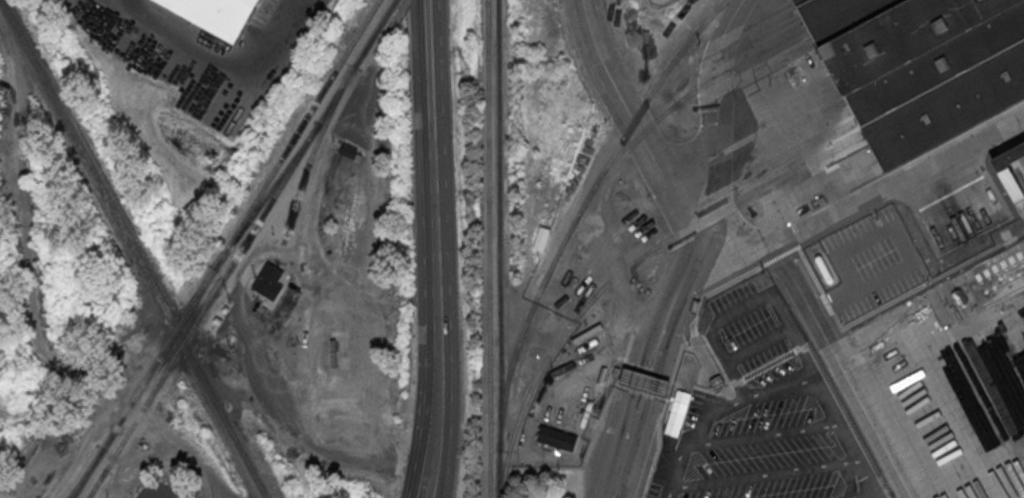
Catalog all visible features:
power substation: (658, 0)
railway: (394, 2)
building: (216, 13)
road: (220, 59)
building: (919, 66)
road: (433, 67)
power tower: (465, 74)
railway: (673, 106)
road: (716, 117)
road: (635, 122)
building: (349, 150)
railway: (313, 152)
building: (1010, 174)
railway: (266, 196)
road: (950, 197)
road: (866, 199)
railway: (581, 210)
power tower: (471, 215)
building: (542, 239)
road: (437, 246)
railway: (134, 248)
railway: (225, 248)
railway: (488, 249)
railway: (499, 249)
road: (905, 249)
railway: (241, 251)
parking lot: (873, 262)
railway: (628, 266)
road: (687, 268)
building: (269, 280)
road: (30, 308)
road: (780, 311)
road: (938, 342)
road: (758, 346)
road: (842, 372)
building: (643, 381)
road: (629, 394)
road: (653, 397)
road: (438, 398)
road: (719, 412)
parking lot: (765, 413)
road: (765, 434)
road: (299, 435)
building: (557, 439)
road: (852, 461)
road: (435, 468)
railway: (86, 473)
road: (758, 476)
road: (869, 479)
road: (852, 481)
railway: (97, 483)
parking lot: (193, 495)

